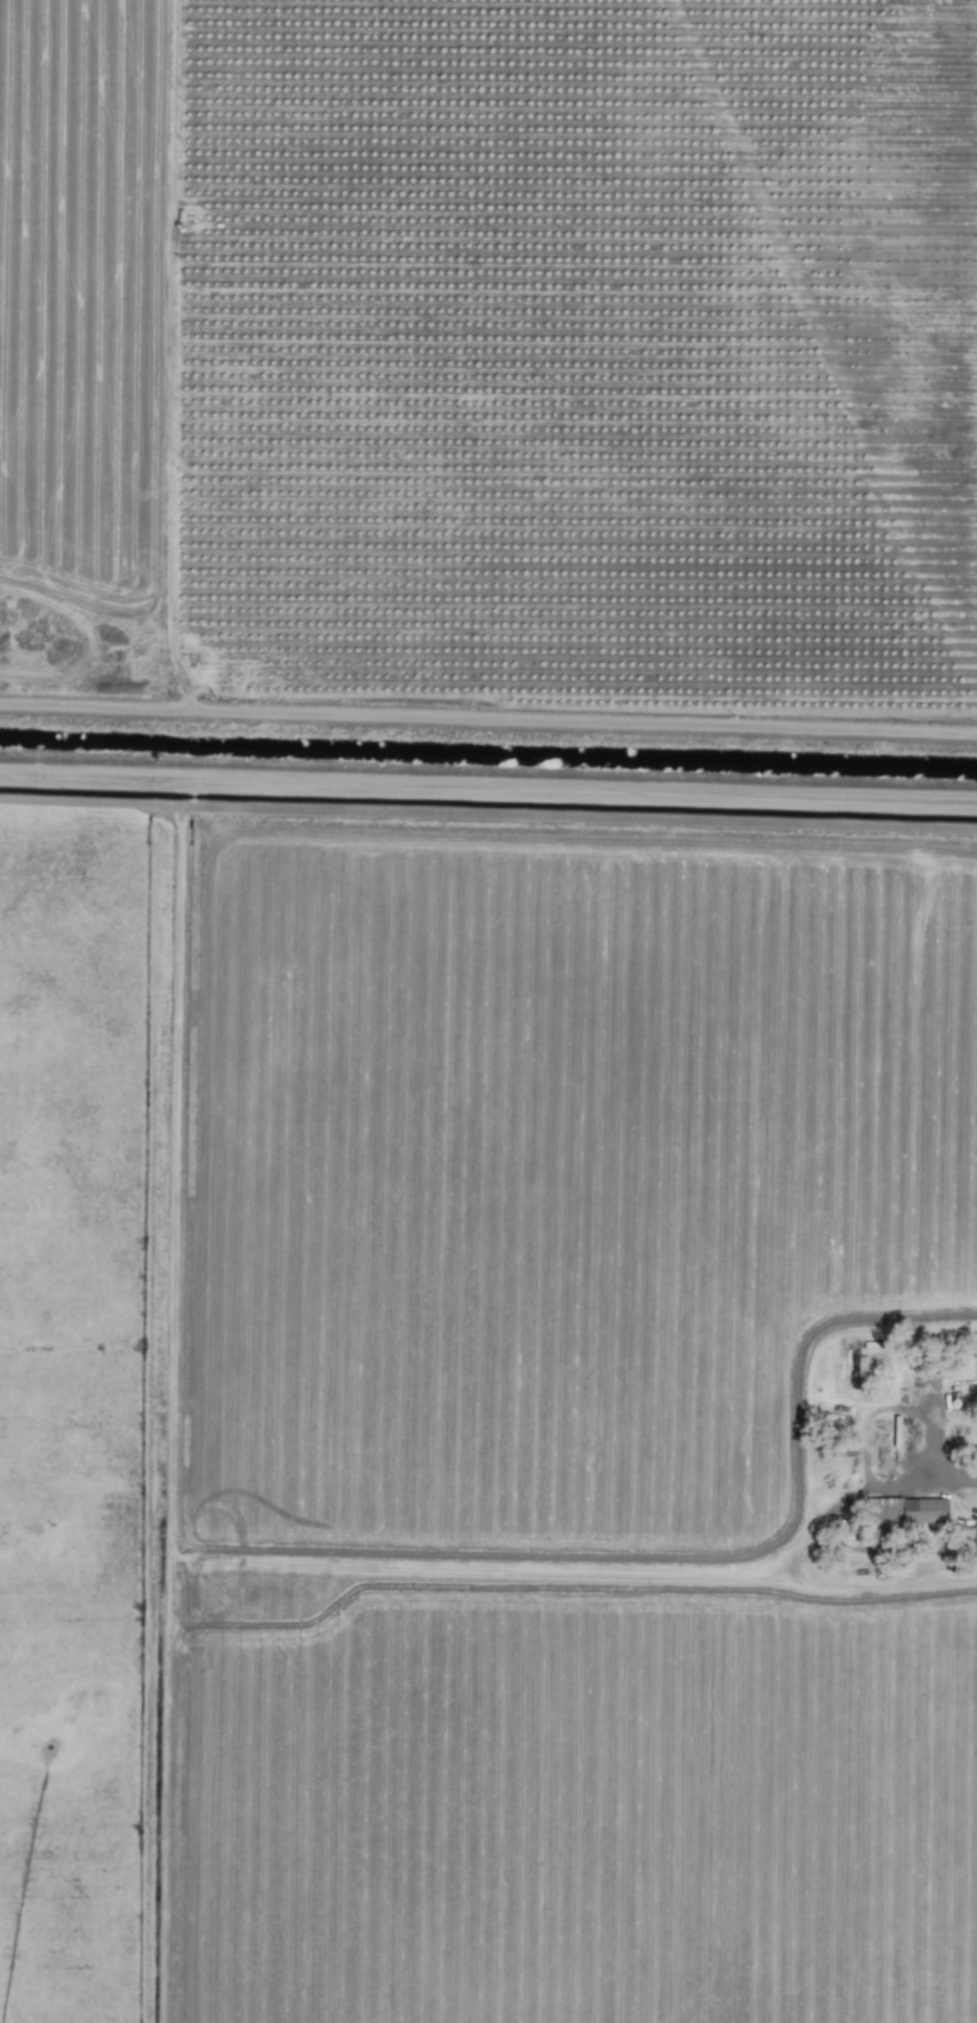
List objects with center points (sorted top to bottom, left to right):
road: (488, 721)
road: (488, 794)
road: (897, 1409)
road: (832, 1523)

